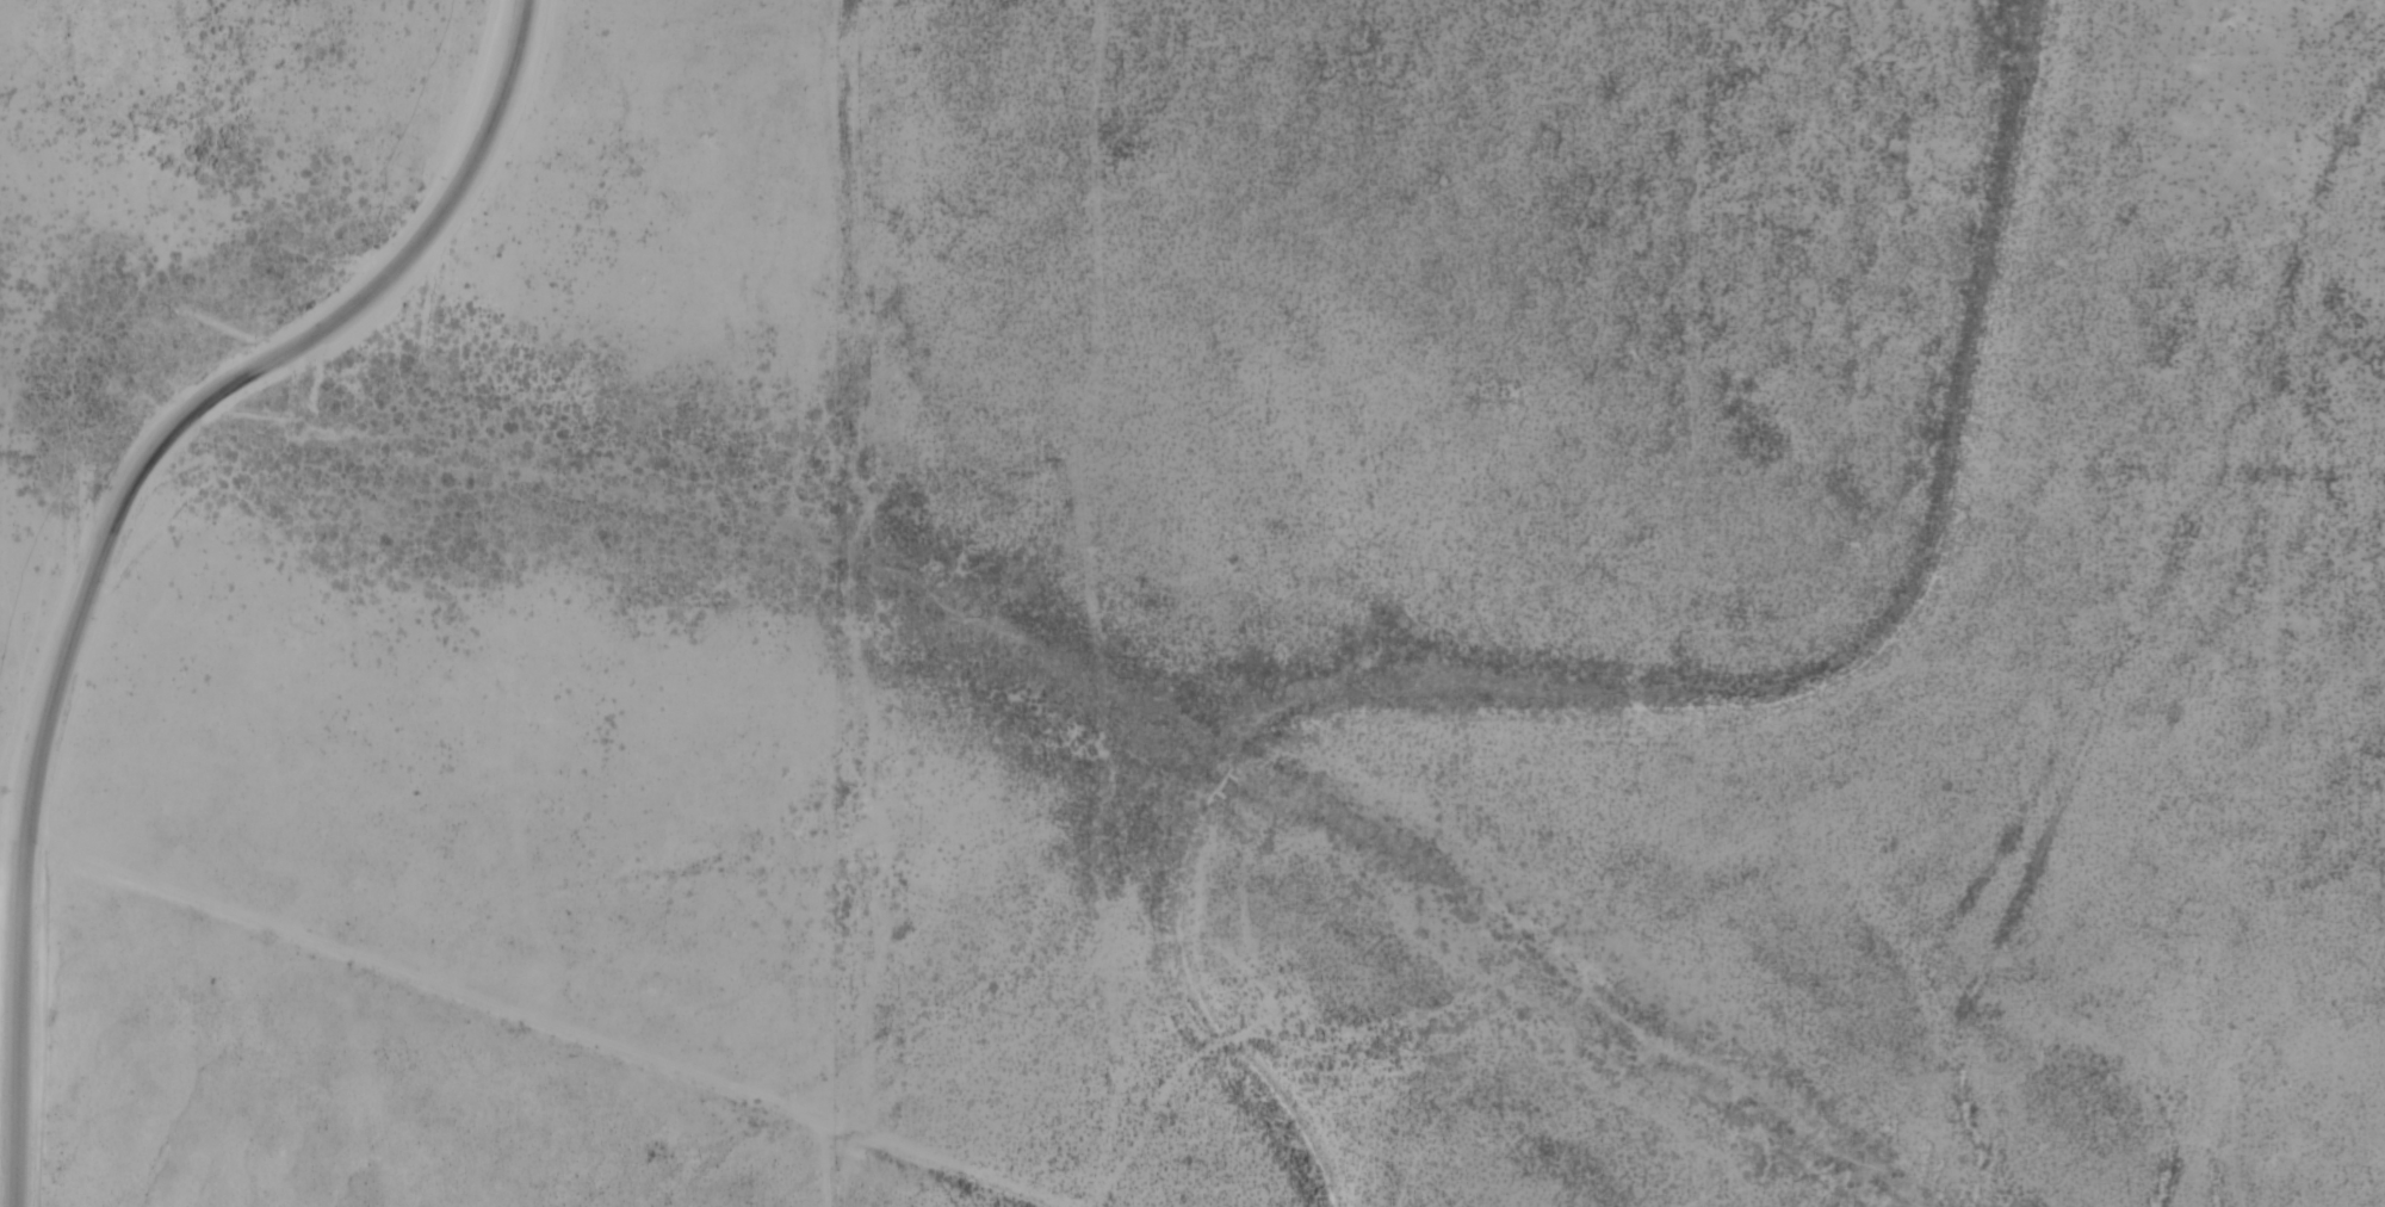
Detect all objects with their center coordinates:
road: (114, 524)

